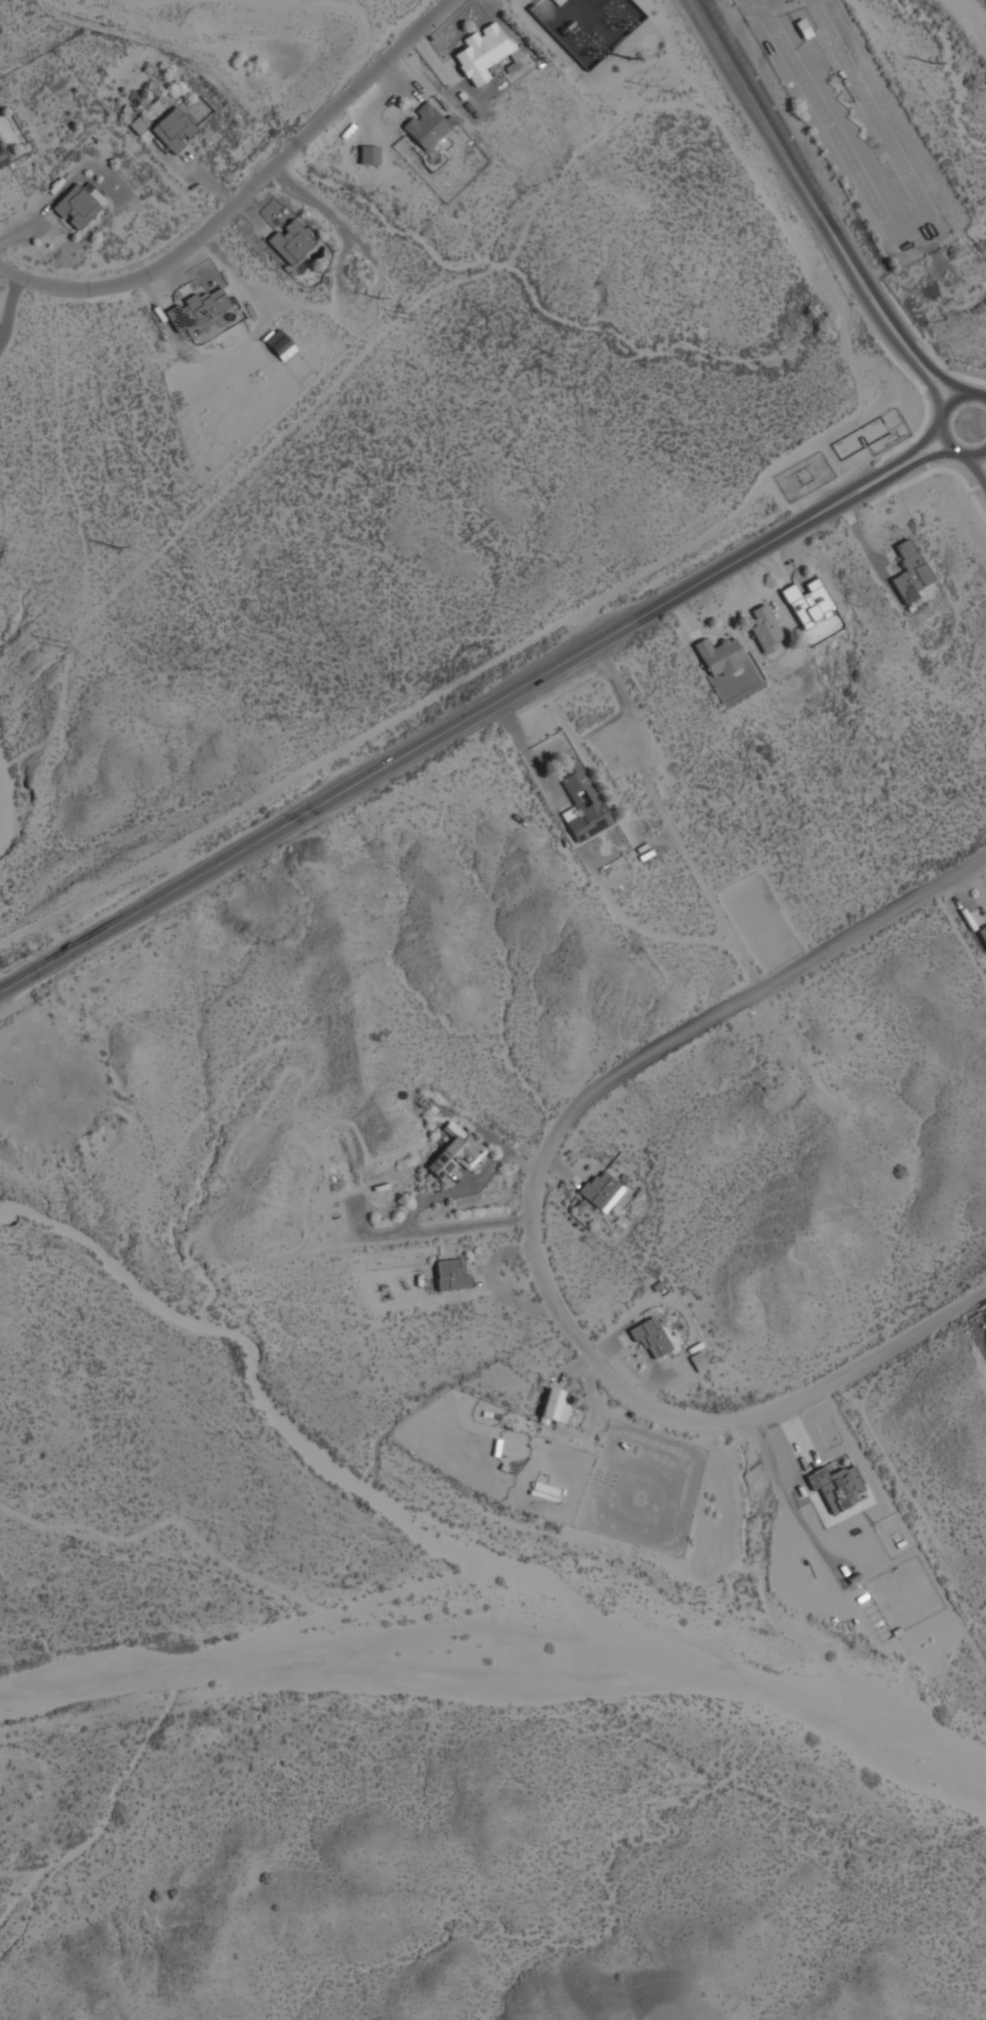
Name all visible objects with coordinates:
landfill: (974, 12)
power substation: (586, 25)
building: (481, 52)
power tower: (628, 59)
power tower: (662, 71)
road: (738, 73)
building: (425, 127)
building: (173, 130)
building: (2, 155)
building: (369, 155)
road: (245, 192)
building: (76, 207)
building: (291, 242)
road: (861, 277)
road: (852, 283)
power tower: (376, 299)
building: (196, 310)
power tower: (405, 319)
building: (280, 345)
road: (932, 379)
road: (985, 395)
road: (935, 424)
park: (971, 424)
road: (919, 451)
road: (975, 469)
road: (940, 471)
road: (864, 473)
road: (869, 484)
road: (979, 486)
power tower: (117, 550)
building: (909, 573)
building: (808, 603)
building: (765, 630)
power tower: (60, 644)
building: (719, 656)
road: (395, 755)
road: (539, 777)
building: (581, 803)
road: (665, 816)
road: (642, 929)
building: (983, 934)
building: (455, 1151)
building: (599, 1189)
road: (538, 1214)
building: (451, 1275)
building: (650, 1338)
building: (553, 1407)

